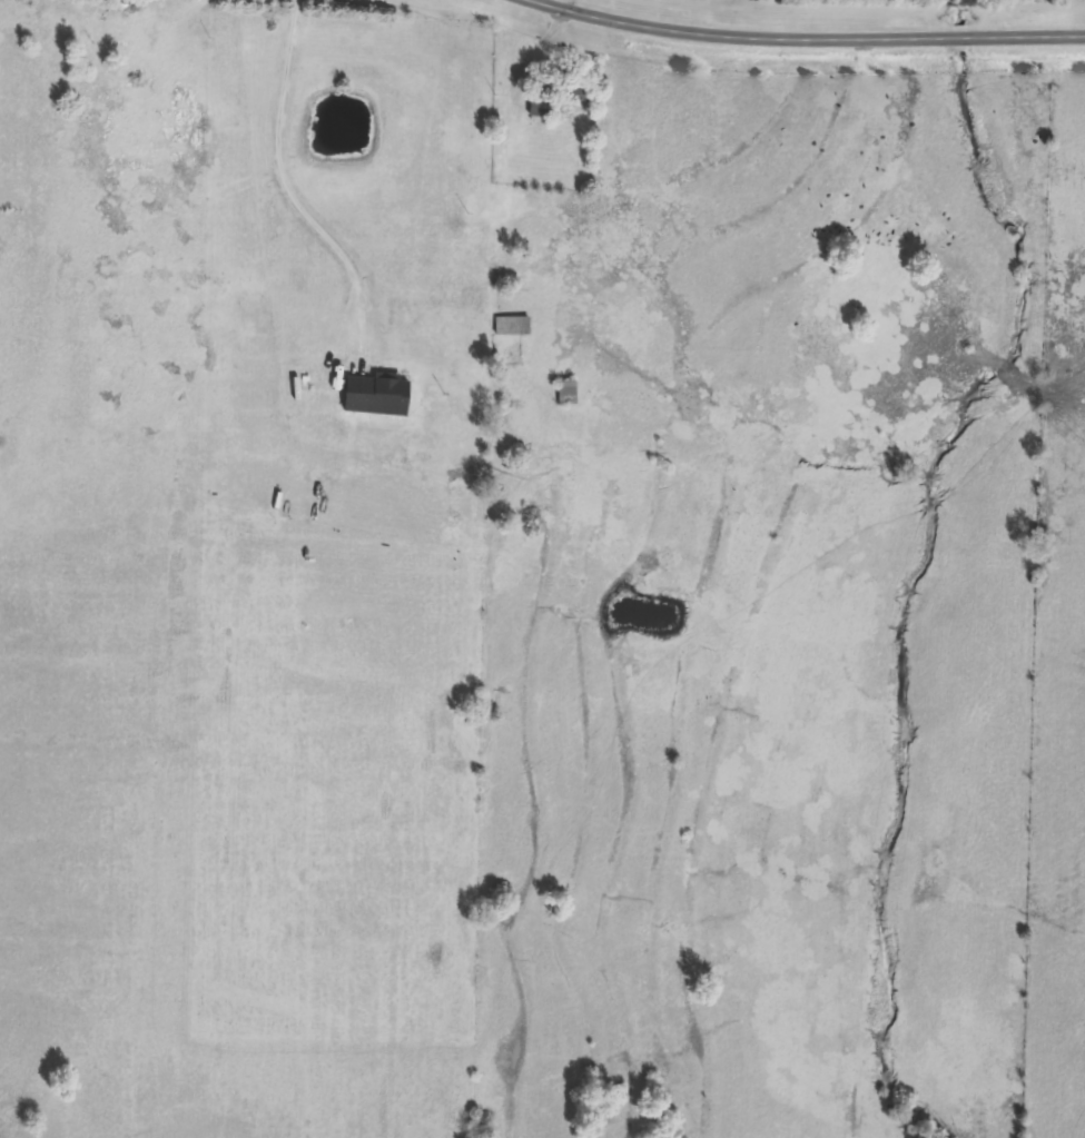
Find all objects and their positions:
building: (127, 12)
road: (807, 34)
building: (574, 99)
building: (539, 113)
road: (289, 187)
building: (513, 329)
building: (382, 397)
building: (569, 397)

